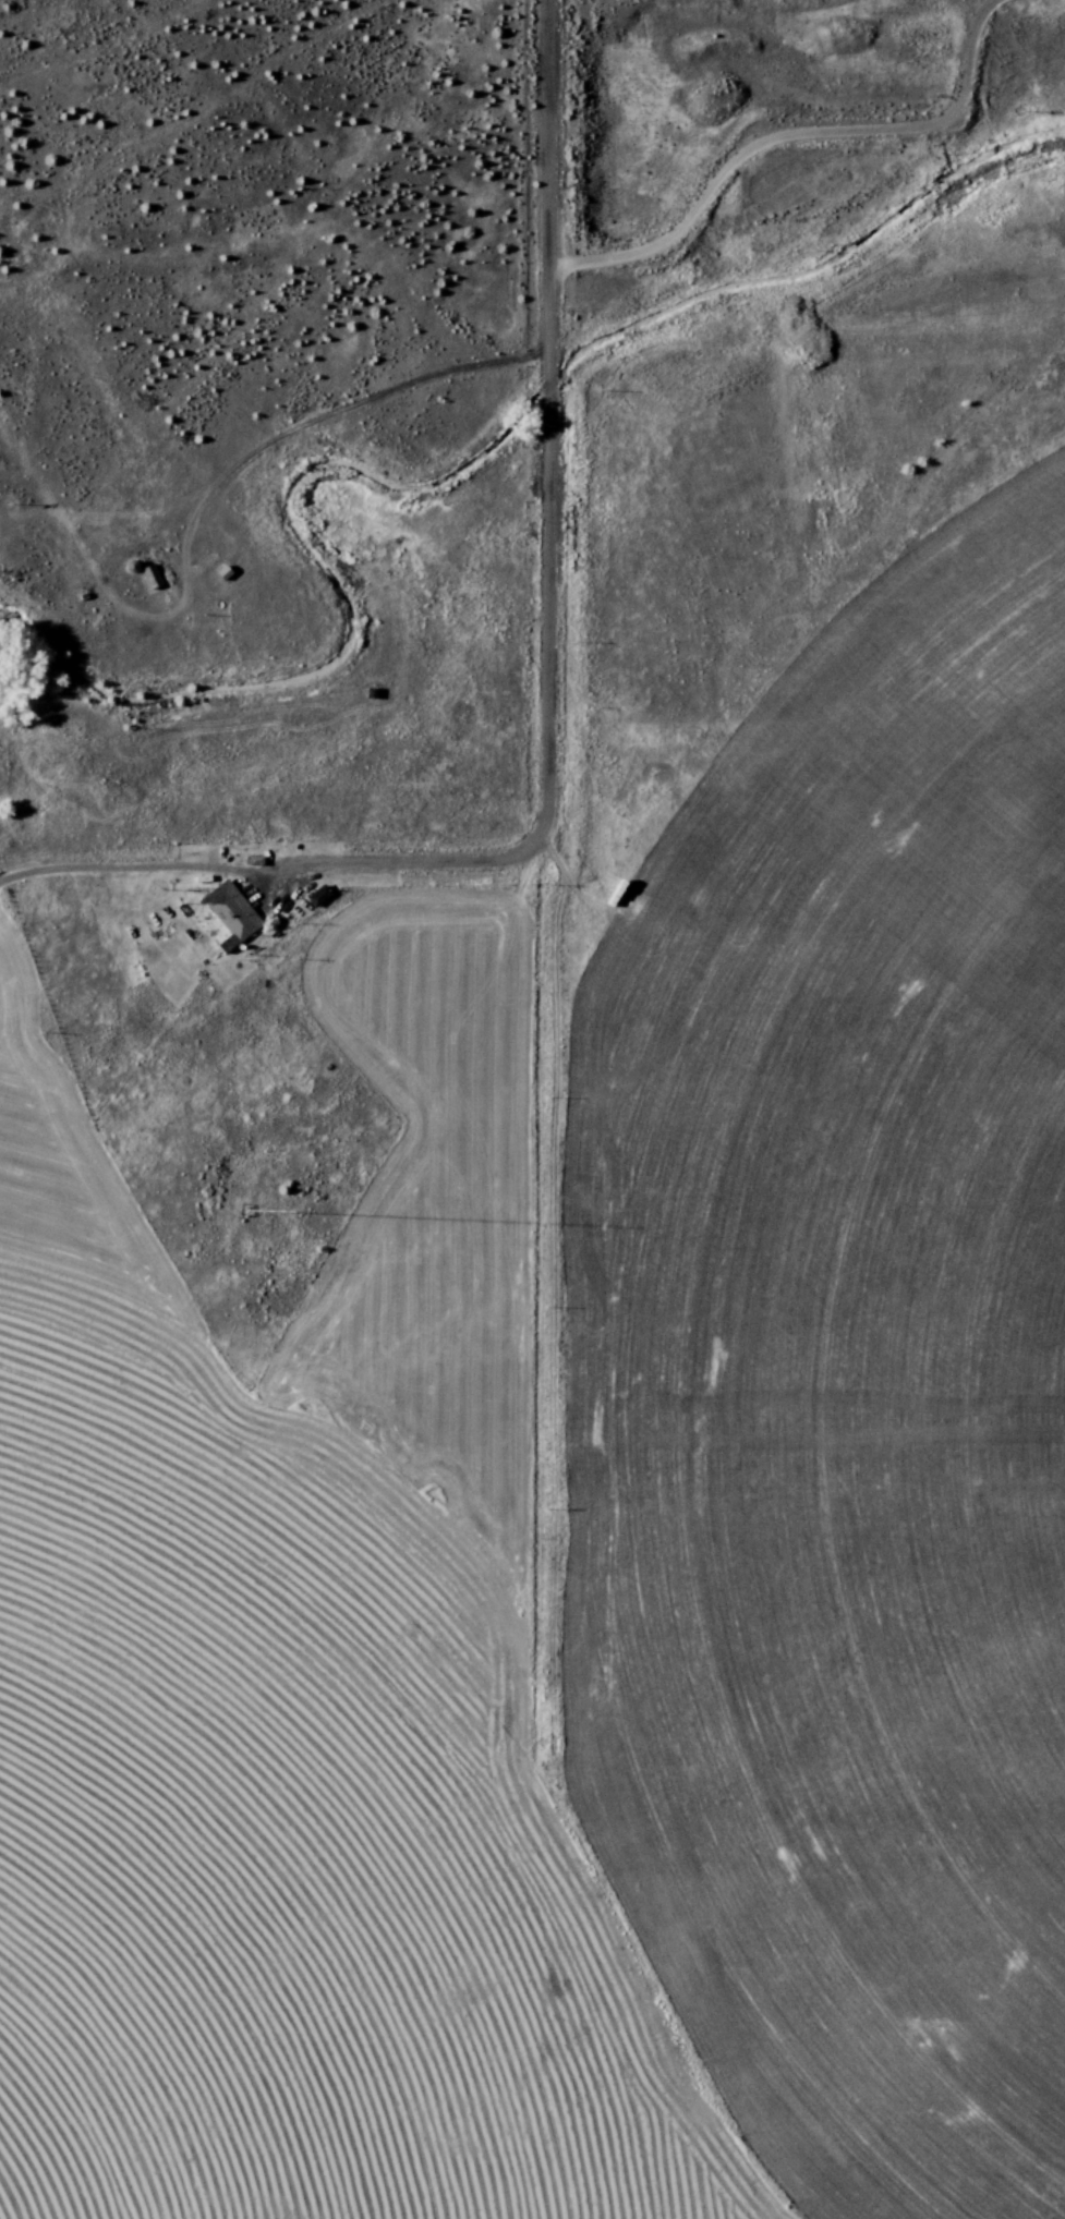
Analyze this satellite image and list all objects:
road: (114, 166)
road: (550, 594)
building: (230, 916)

